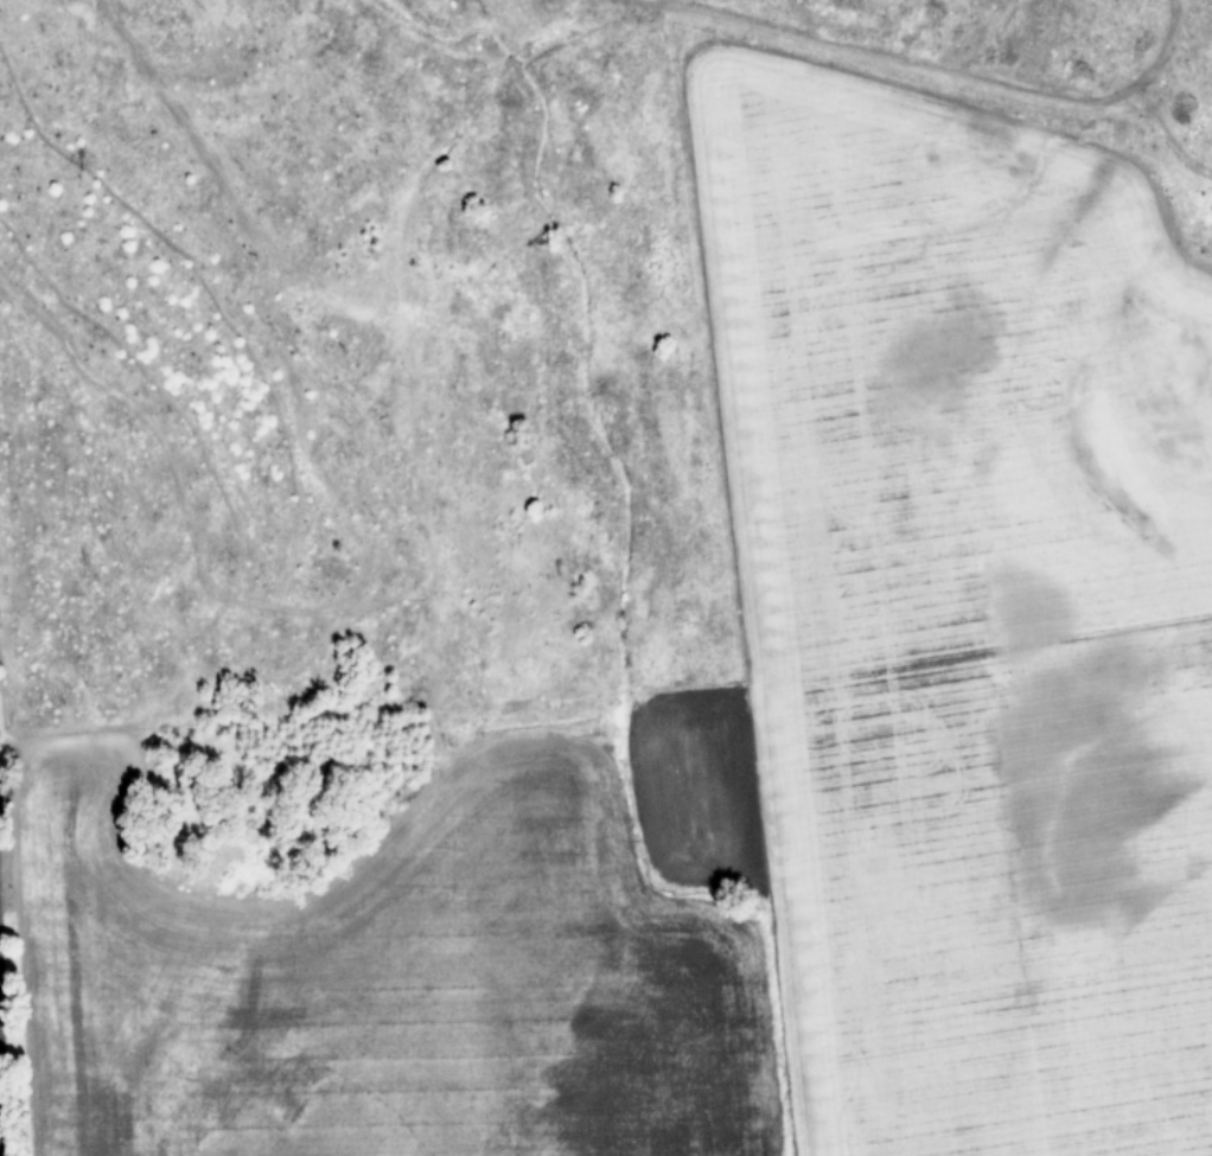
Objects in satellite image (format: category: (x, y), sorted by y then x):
crop: (778, 745)
road: (0, 1132)

